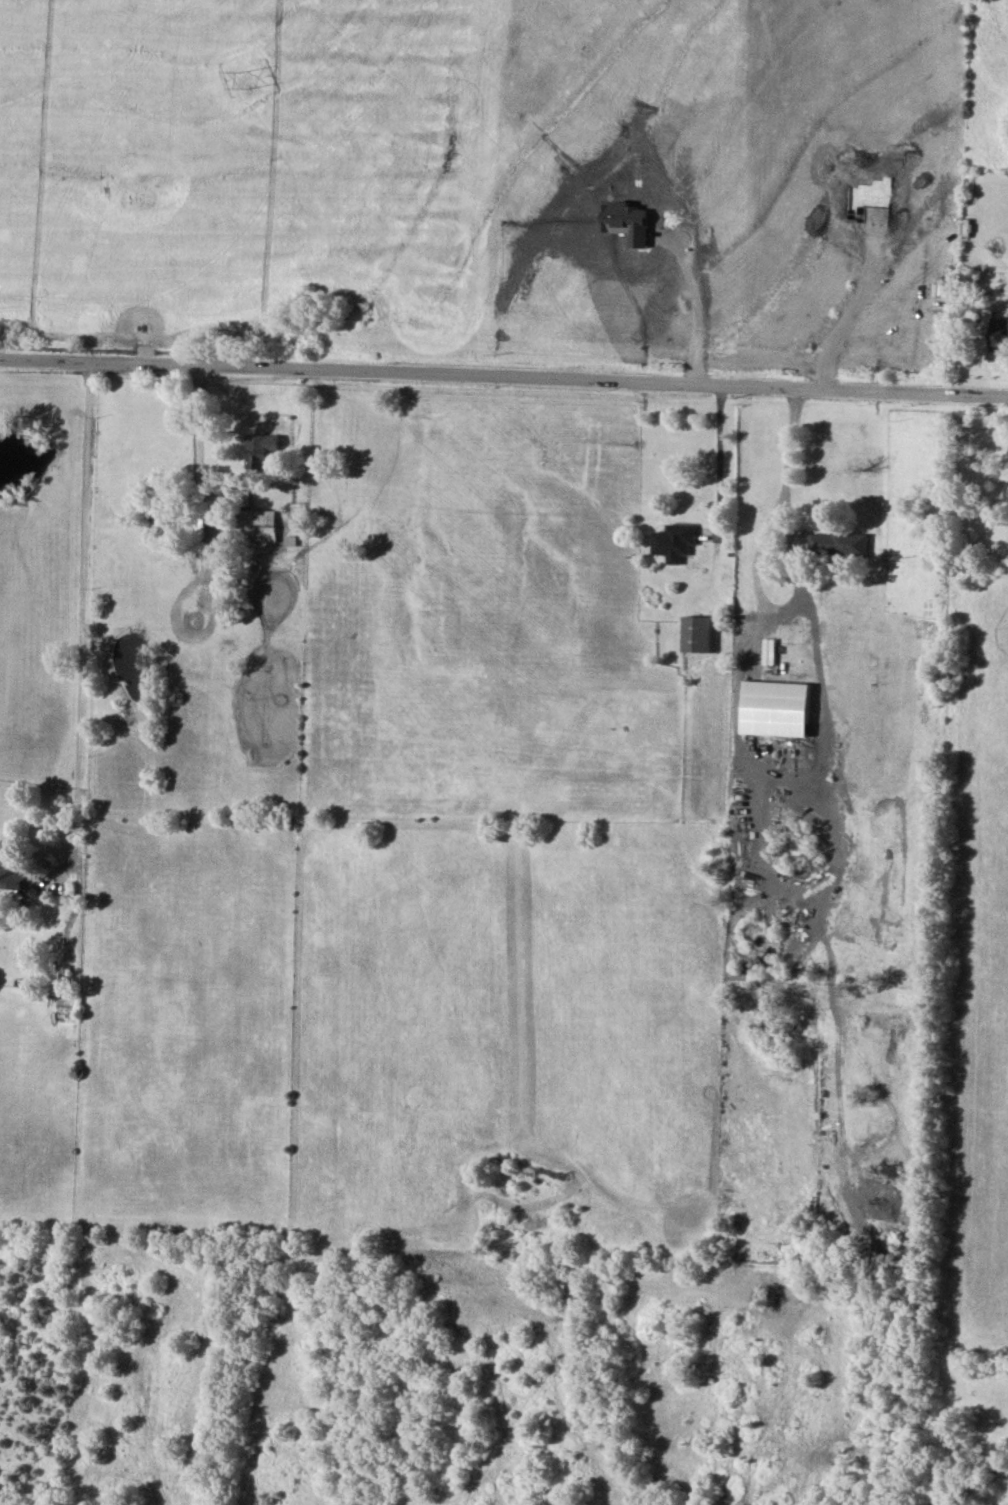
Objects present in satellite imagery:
power tower: (245, 78)
road: (696, 307)
road: (847, 319)
building: (1000, 334)
road: (503, 378)
road: (201, 421)
building: (263, 449)
road: (720, 461)
building: (260, 525)
building: (678, 541)
building: (841, 544)
road: (84, 633)
building: (700, 633)
building: (778, 708)
road: (736, 714)
building: (16, 879)

